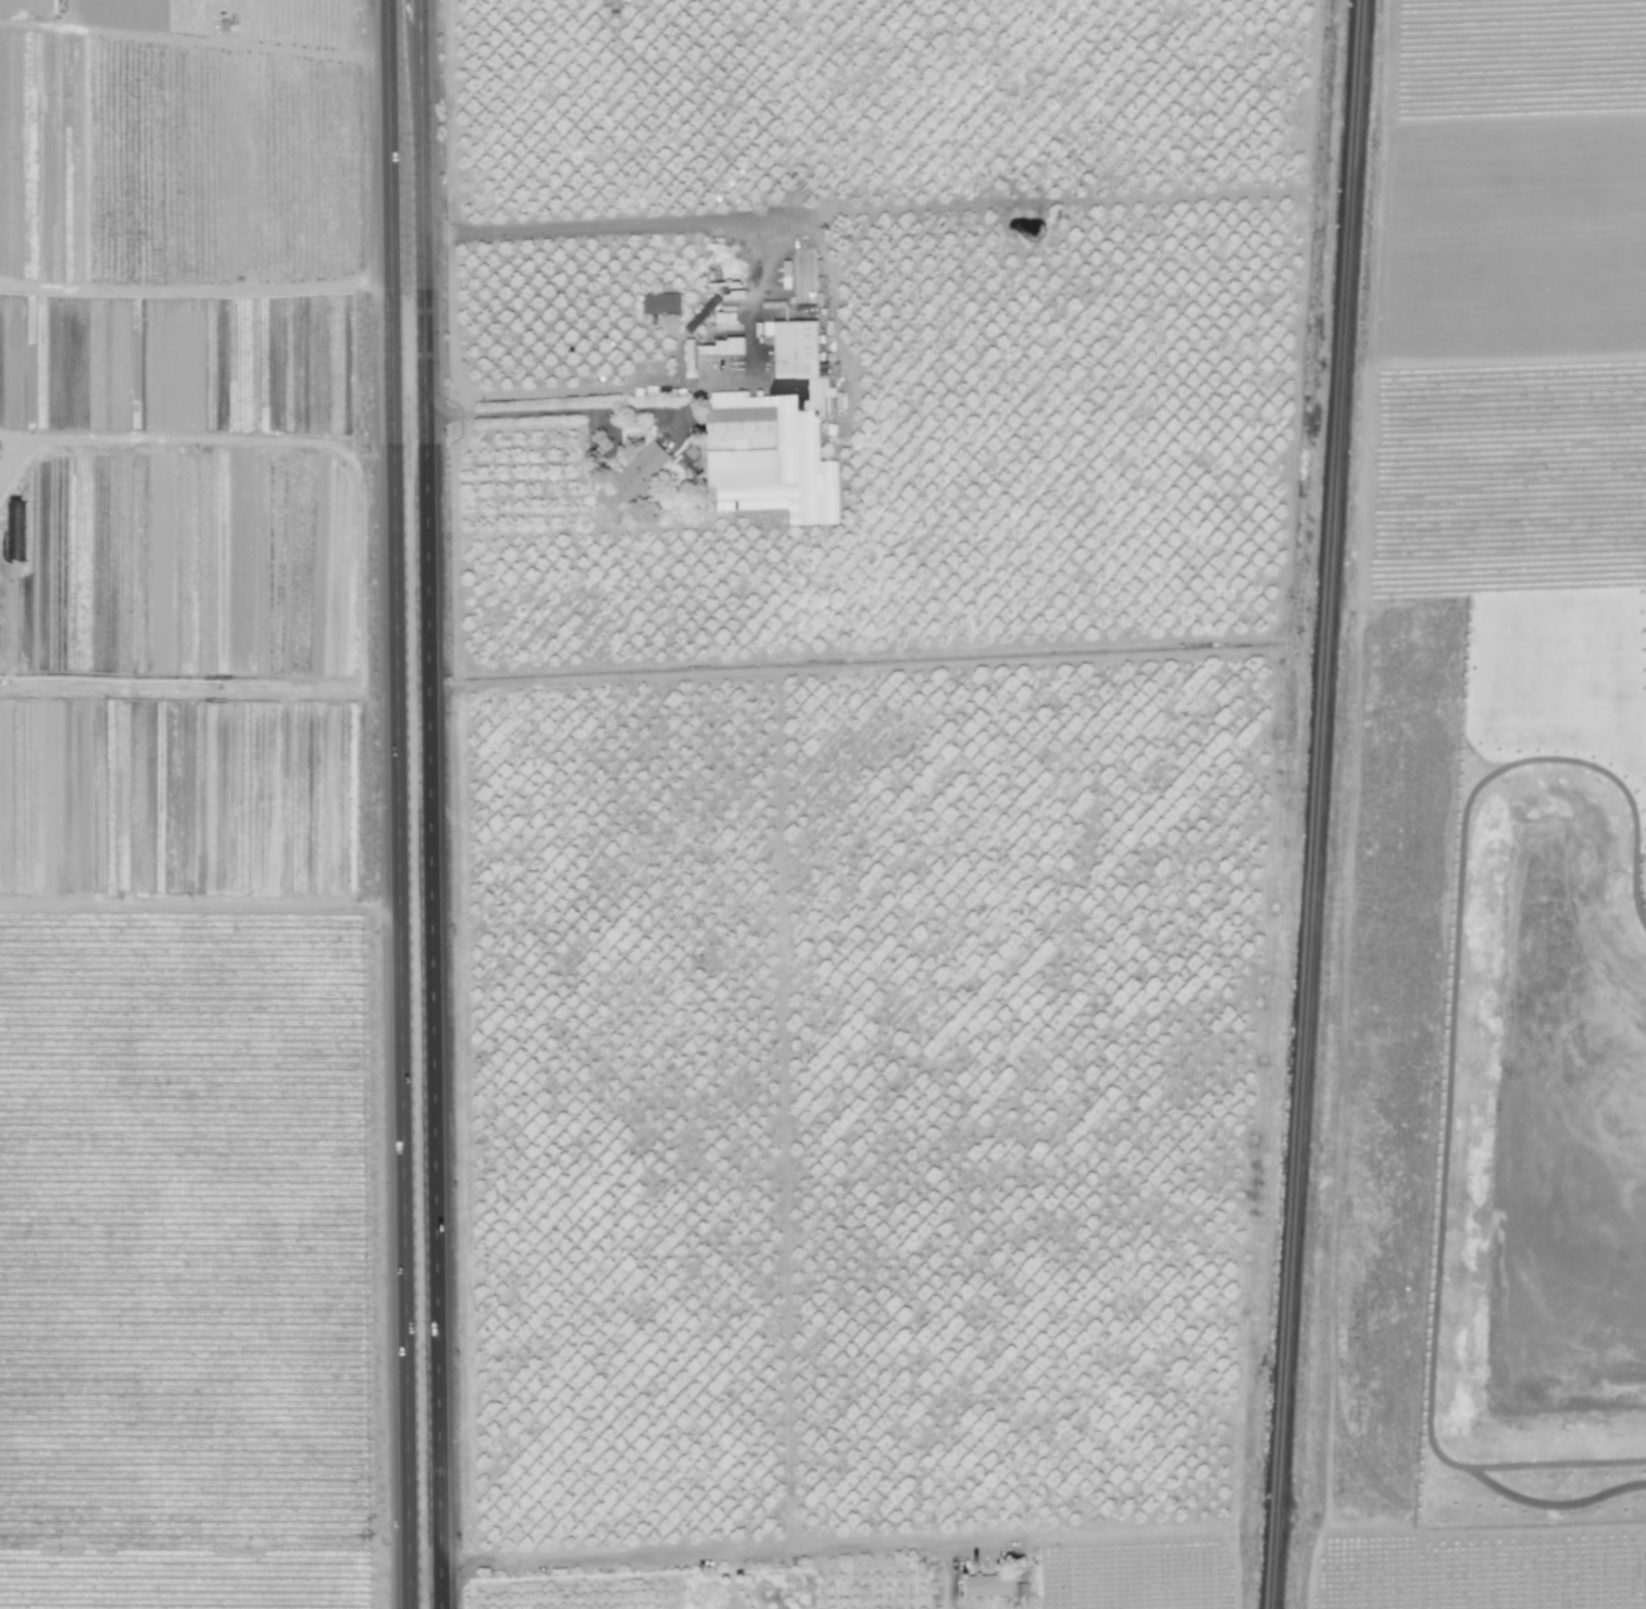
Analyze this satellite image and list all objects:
building: (660, 303)
road: (749, 365)
road: (464, 404)
road: (570, 410)
building: (773, 439)
building: (636, 473)
road: (434, 803)
road: (399, 804)
railway: (1319, 804)
road: (713, 1556)
road: (730, 1583)
building: (987, 1585)

